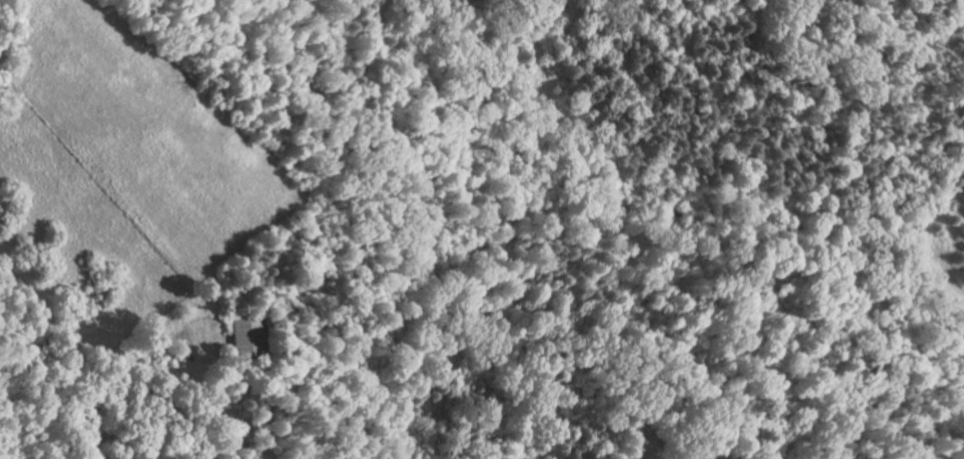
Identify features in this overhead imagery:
building: (246, 337)
road: (235, 408)

